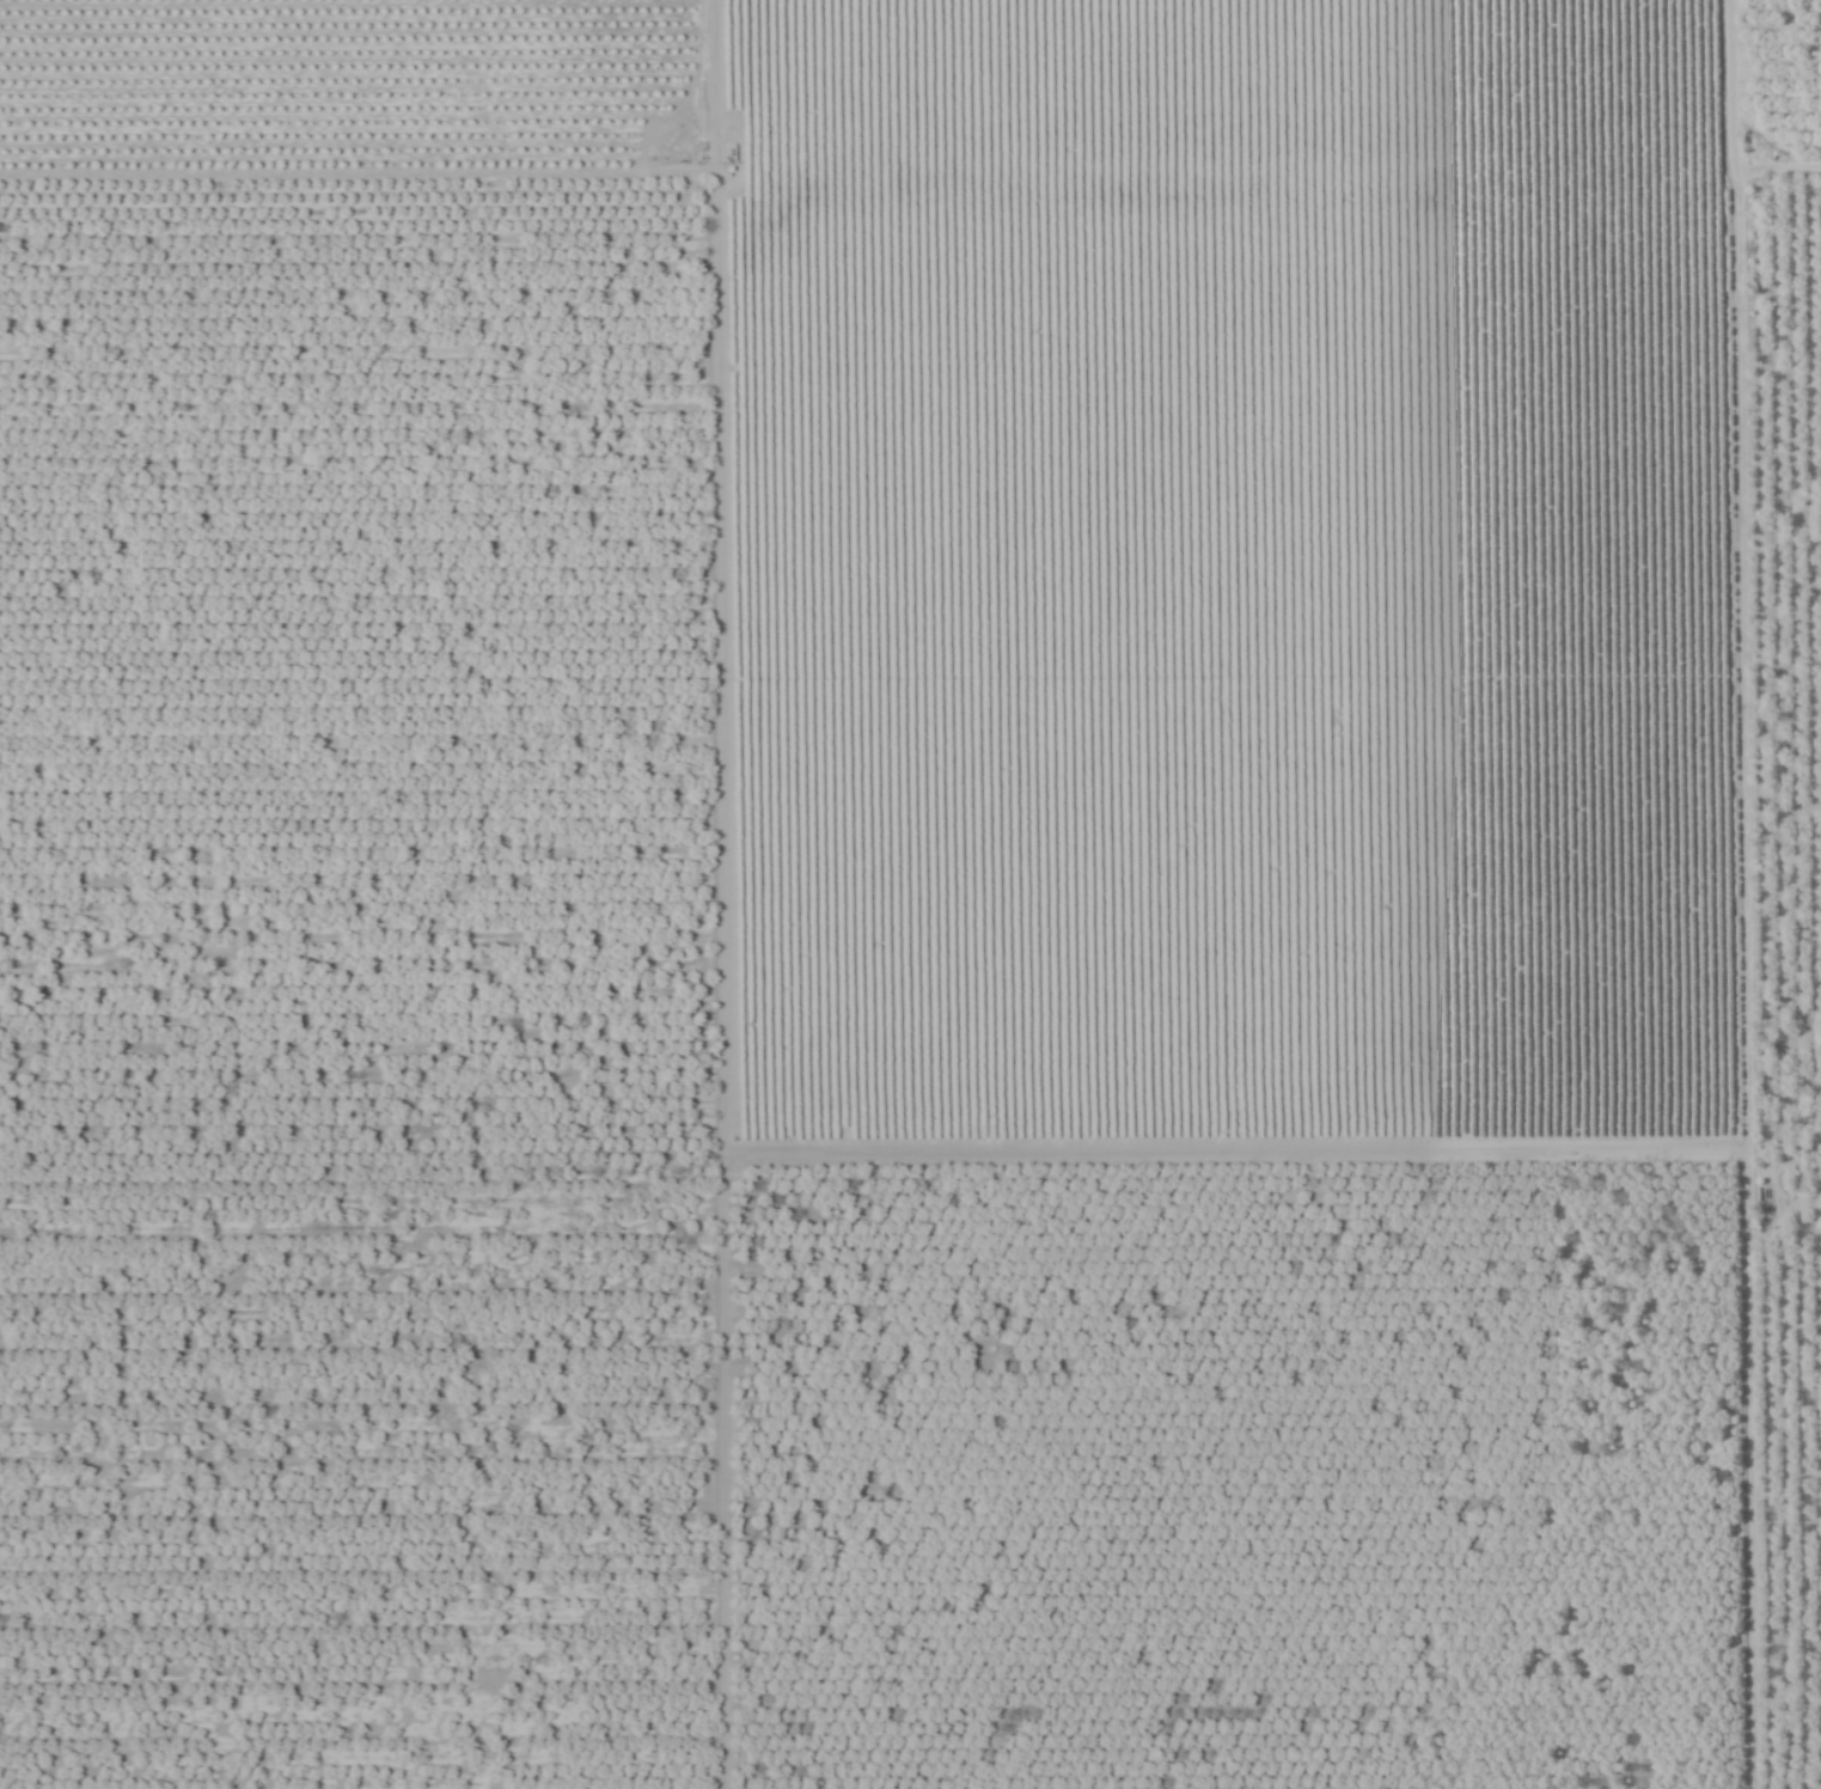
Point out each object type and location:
crop: (910, 894)
road: (1744, 944)

